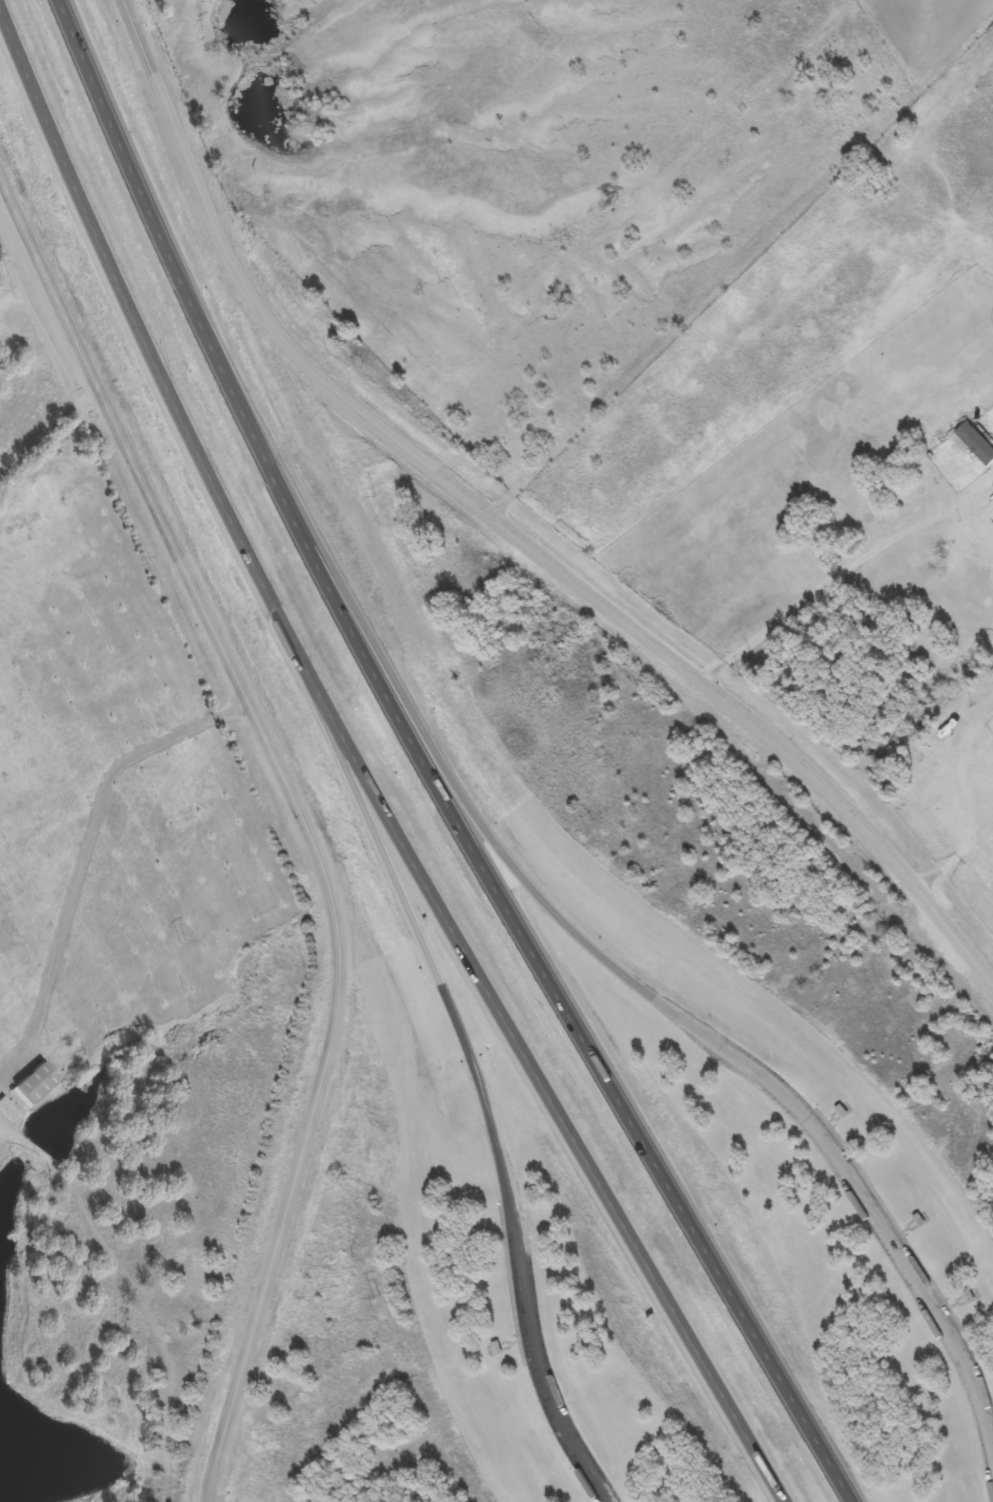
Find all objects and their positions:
building: (975, 442)
road: (507, 529)
building: (949, 726)
road: (424, 766)
road: (364, 772)
road: (459, 795)
road: (302, 818)
road: (408, 910)
building: (58, 1044)
building: (34, 1082)
road: (882, 1232)
parking lot: (876, 1237)
building: (494, 1348)
parking lot: (552, 1388)
road: (548, 1392)

